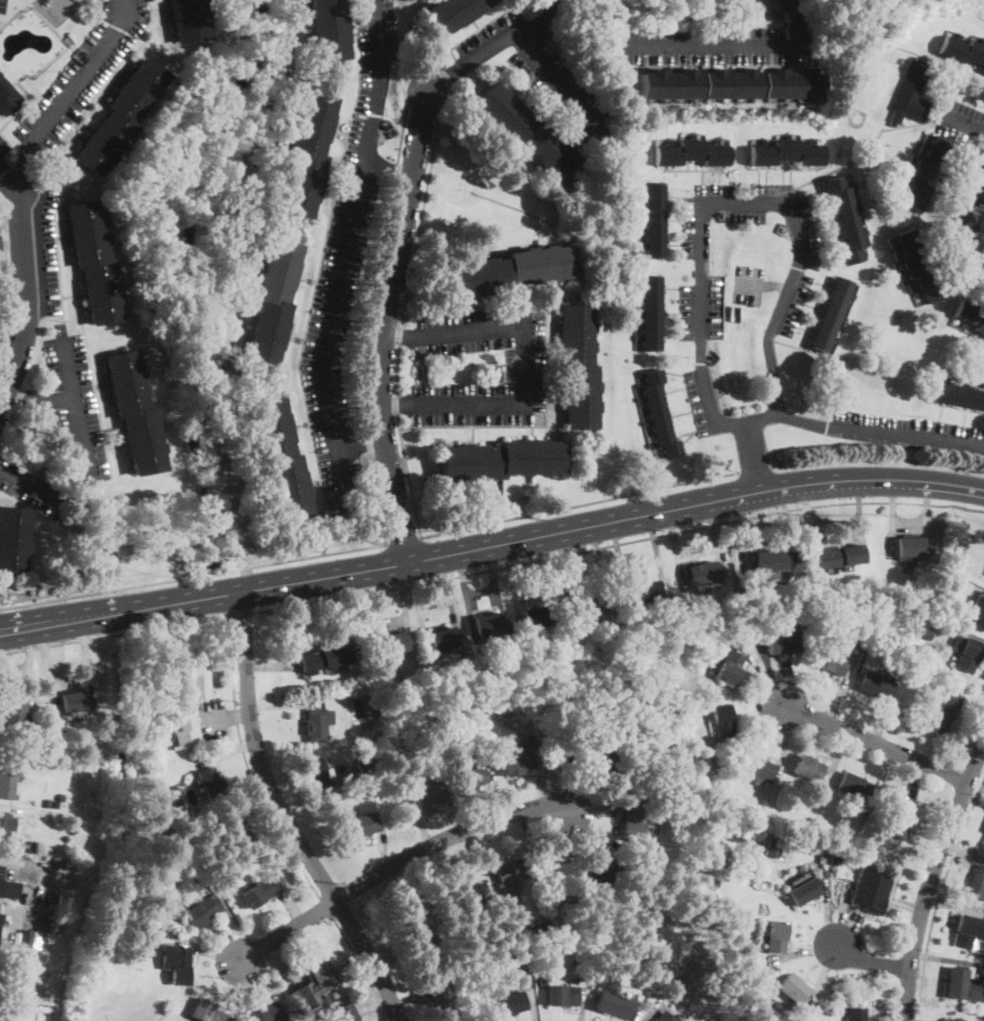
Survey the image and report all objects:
building: (76, 0)
parking lot: (3, 6)
building: (453, 12)
road: (547, 15)
building: (188, 20)
road: (794, 22)
road: (478, 28)
building: (328, 30)
road: (493, 44)
parking lot: (716, 44)
road: (716, 44)
building: (962, 50)
building: (983, 70)
parking lot: (83, 71)
road: (84, 72)
parking lot: (541, 73)
road: (444, 78)
road: (554, 79)
building: (732, 83)
building: (910, 94)
building: (8, 97)
building: (120, 117)
building: (857, 118)
road: (963, 121)
parking lot: (960, 124)
building: (527, 134)
road: (9, 141)
parking lot: (3, 148)
building: (786, 152)
building: (691, 153)
building: (308, 155)
road: (24, 165)
road: (389, 168)
building: (924, 173)
road: (9, 177)
road: (742, 201)
road: (53, 214)
building: (847, 219)
building: (653, 220)
parking lot: (968, 224)
road: (961, 228)
parking lot: (45, 237)
road: (11, 245)
road: (345, 253)
building: (94, 262)
parking lot: (345, 263)
building: (915, 267)
parking lot: (803, 269)
building: (510, 271)
road: (315, 279)
parking lot: (748, 283)
road: (763, 285)
road: (7, 293)
road: (27, 300)
building: (273, 302)
building: (649, 313)
building: (832, 315)
building: (969, 317)
road: (364, 323)
road: (402, 323)
road: (385, 324)
road: (395, 335)
building: (579, 366)
road: (524, 367)
parking lot: (524, 370)
building: (957, 394)
road: (40, 399)
parking lot: (701, 402)
road: (392, 404)
parking lot: (75, 405)
road: (75, 408)
building: (135, 413)
building: (656, 413)
road: (537, 426)
road: (850, 429)
parking lot: (910, 433)
road: (361, 446)
road: (752, 453)
road: (878, 457)
building: (281, 459)
building: (502, 460)
road: (755, 469)
road: (27, 483)
parking lot: (31, 486)
road: (579, 504)
road: (806, 512)
road: (861, 519)
road: (787, 523)
road: (906, 525)
road: (745, 529)
road: (931, 533)
road: (714, 537)
building: (13, 538)
road: (888, 539)
road: (403, 540)
road: (491, 541)
road: (617, 543)
road: (675, 543)
building: (913, 547)
road: (656, 549)
road: (619, 553)
building: (838, 555)
road: (570, 563)
building: (768, 563)
building: (700, 573)
road: (192, 575)
road: (512, 576)
road: (481, 592)
building: (646, 592)
building: (917, 592)
road: (451, 597)
building: (948, 597)
road: (499, 598)
road: (468, 600)
road: (434, 603)
building: (588, 603)
road: (405, 605)
road: (416, 605)
road: (372, 612)
road: (238, 613)
building: (978, 613)
building: (968, 616)
building: (536, 617)
road: (391, 621)
building: (487, 623)
road: (967, 634)
building: (924, 635)
building: (858, 636)
building: (441, 638)
building: (394, 642)
building: (658, 643)
building: (783, 643)
road: (230, 653)
building: (966, 653)
building: (680, 656)
building: (324, 658)
road: (29, 659)
building: (831, 661)
road: (86, 662)
road: (271, 666)
building: (729, 667)
road: (763, 674)
road: (780, 679)
building: (198, 682)
building: (876, 685)
road: (841, 688)
building: (74, 701)
road: (285, 705)
building: (943, 712)
road: (238, 714)
road: (886, 714)
building: (12, 715)
building: (645, 715)
road: (216, 720)
building: (723, 720)
parking lot: (214, 722)
building: (317, 724)
building: (524, 726)
road: (755, 726)
building: (186, 731)
building: (365, 731)
road: (964, 742)
road: (783, 743)
road: (876, 743)
road: (983, 749)
building: (143, 750)
building: (570, 750)
road: (225, 752)
building: (6, 758)
building: (516, 763)
building: (366, 765)
road: (833, 766)
building: (808, 767)
building: (717, 768)
building: (758, 769)
road: (883, 769)
building: (619, 772)
building: (318, 774)
building: (467, 777)
road: (912, 779)
road: (539, 782)
building: (211, 783)
building: (8, 784)
road: (585, 786)
building: (854, 787)
building: (155, 788)
road: (319, 792)
road: (499, 793)
building: (360, 794)
building: (427, 794)
building: (673, 795)
road: (246, 799)
road: (973, 799)
building: (56, 804)
road: (1, 807)
road: (607, 807)
road: (284, 817)
building: (749, 819)
building: (900, 819)
road: (419, 823)
building: (633, 824)
building: (235, 826)
building: (357, 827)
building: (4, 829)
road: (594, 831)
building: (843, 839)
building: (983, 839)
building: (652, 840)
road: (532, 843)
building: (32, 845)
road: (383, 847)
building: (773, 849)
road: (963, 849)
road: (474, 853)
road: (486, 857)
building: (835, 858)
road: (396, 863)
building: (604, 869)
building: (511, 871)
building: (558, 876)
road: (930, 878)
building: (976, 882)
road: (404, 886)
building: (8, 887)
building: (262, 891)
building: (870, 891)
building: (804, 892)
road: (938, 895)
building: (468, 896)
road: (954, 905)
road: (0, 907)
road: (326, 907)
building: (201, 910)
road: (289, 910)
road: (827, 910)
road: (845, 913)
road: (853, 923)
building: (547, 930)
building: (967, 930)
road: (238, 934)
building: (421, 935)
building: (776, 936)
building: (26, 937)
road: (210, 947)
road: (803, 950)
building: (652, 956)
road: (944, 957)
building: (521, 958)
road: (872, 960)
building: (177, 963)
road: (281, 964)
road: (362, 967)
building: (745, 973)
road: (267, 976)
road: (825, 977)
building: (544, 981)
building: (956, 981)
building: (314, 987)
building: (747, 989)
building: (792, 989)
building: (11, 990)
road: (239, 991)
building: (974, 992)
road: (531, 995)
building: (562, 995)
road: (410, 999)
building: (443, 1002)
road: (582, 1002)
building: (511, 1003)
building: (613, 1005)
road: (652, 1007)
road: (887, 1011)
building: (207, 1012)
building: (266, 1013)
building: (345, 1013)
building: (857, 1014)
road: (391, 1017)
building: (661, 1018)
building: (3, 1020)
building: (952, 1020)

